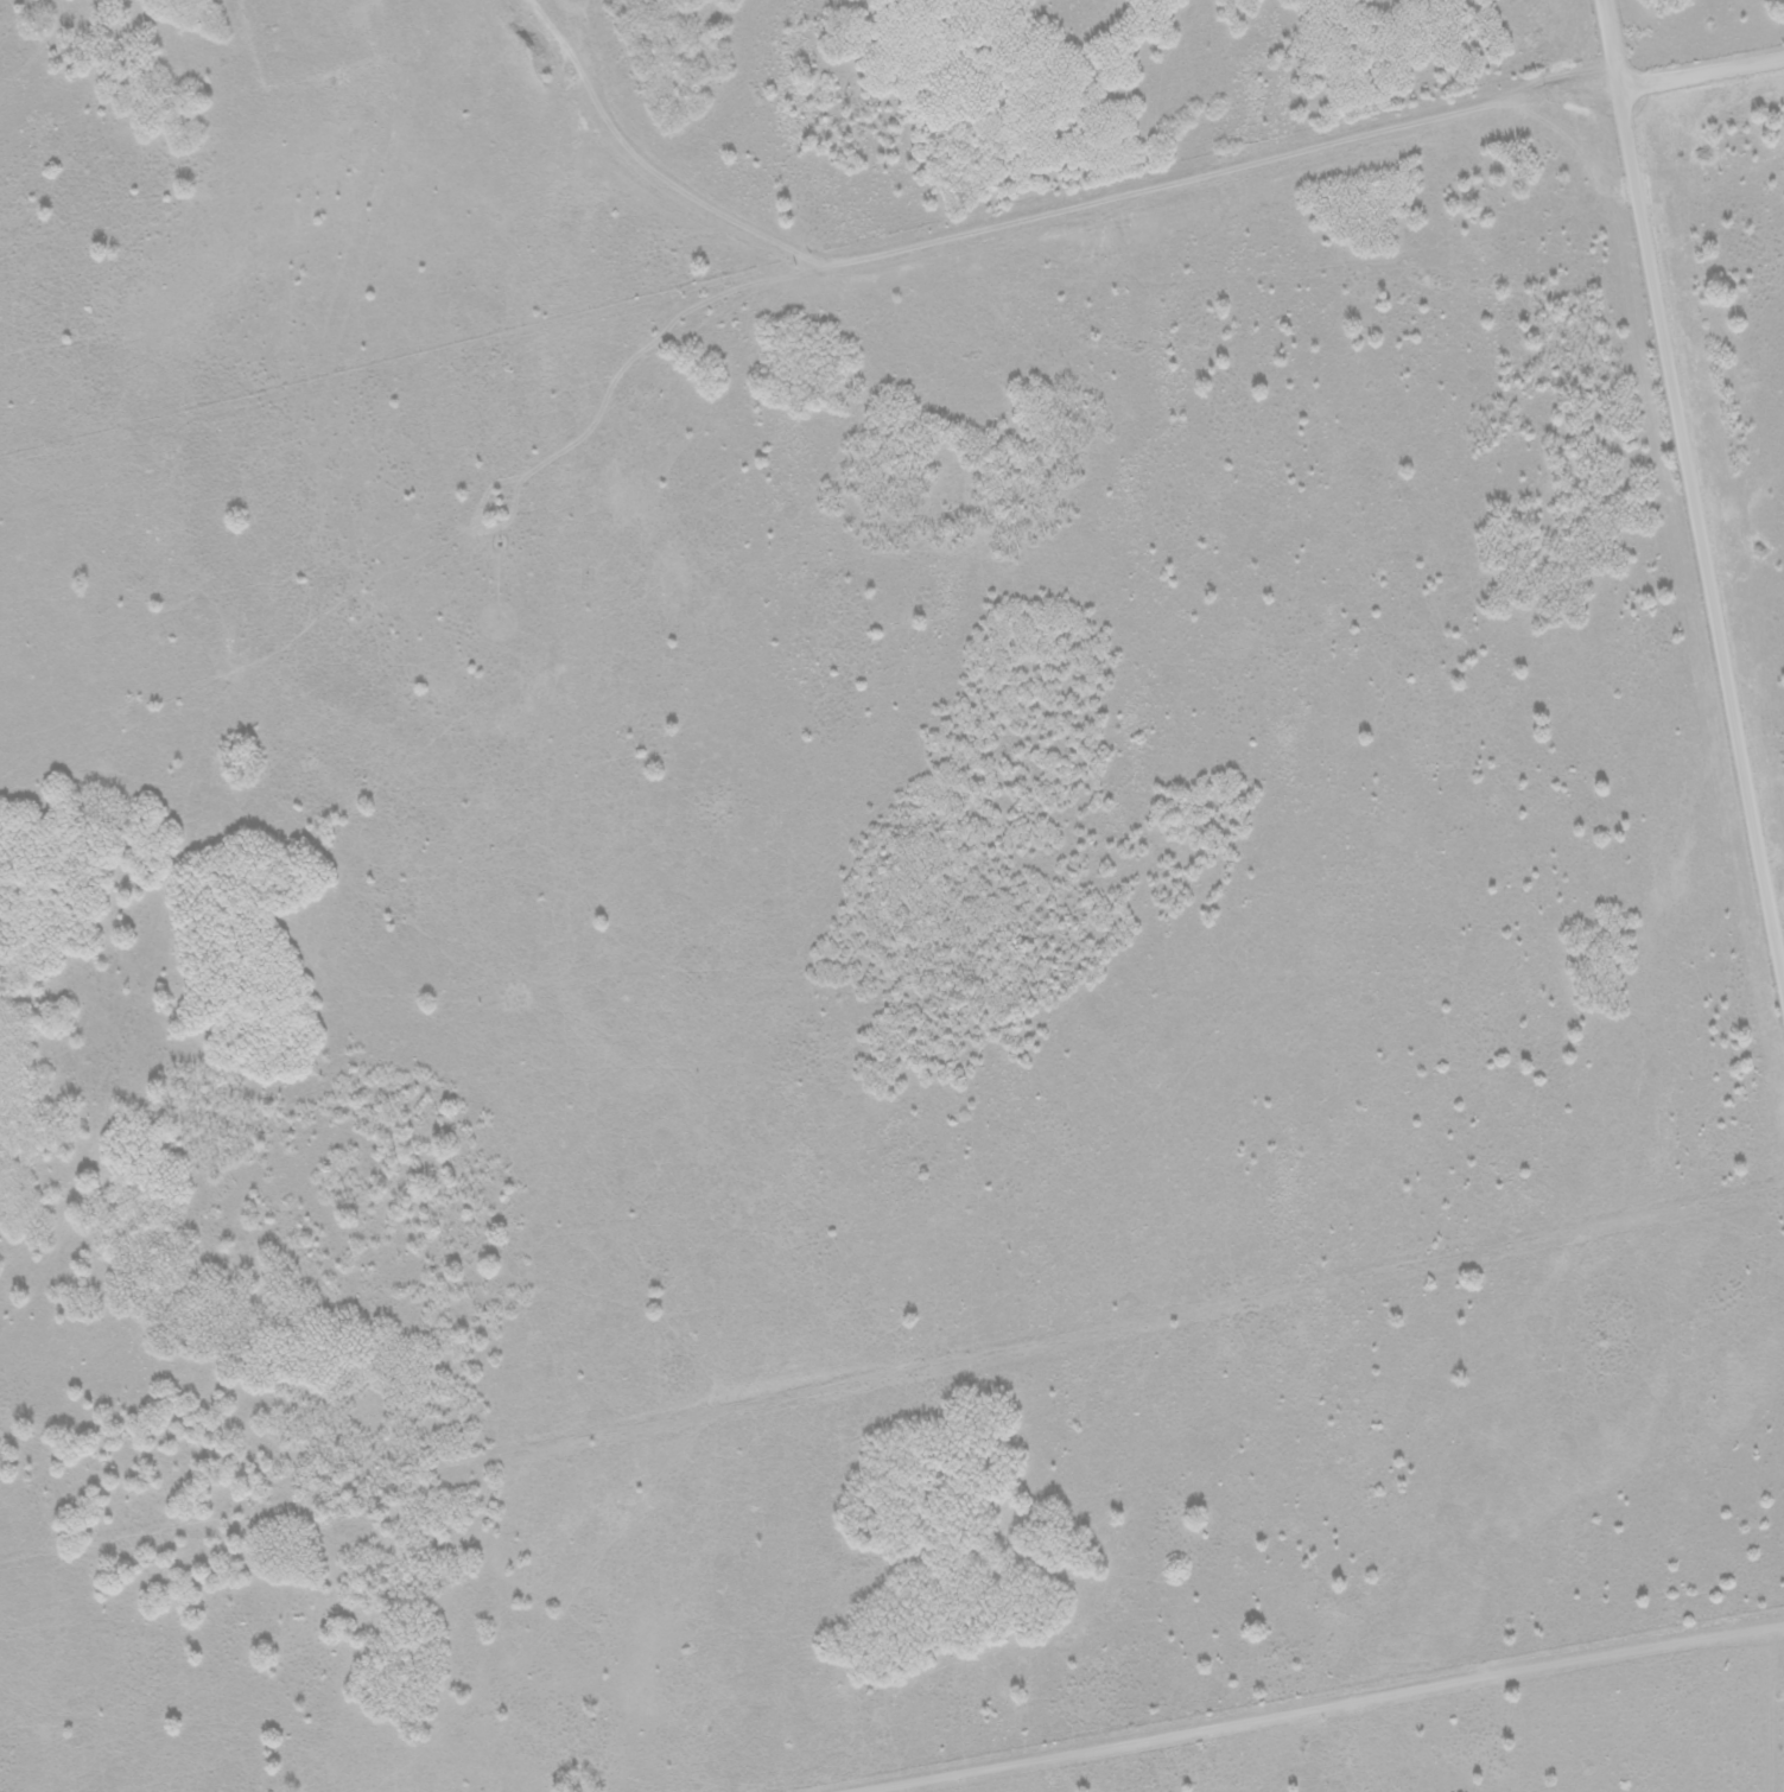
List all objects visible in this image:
road: (1703, 70)
road: (1695, 478)

